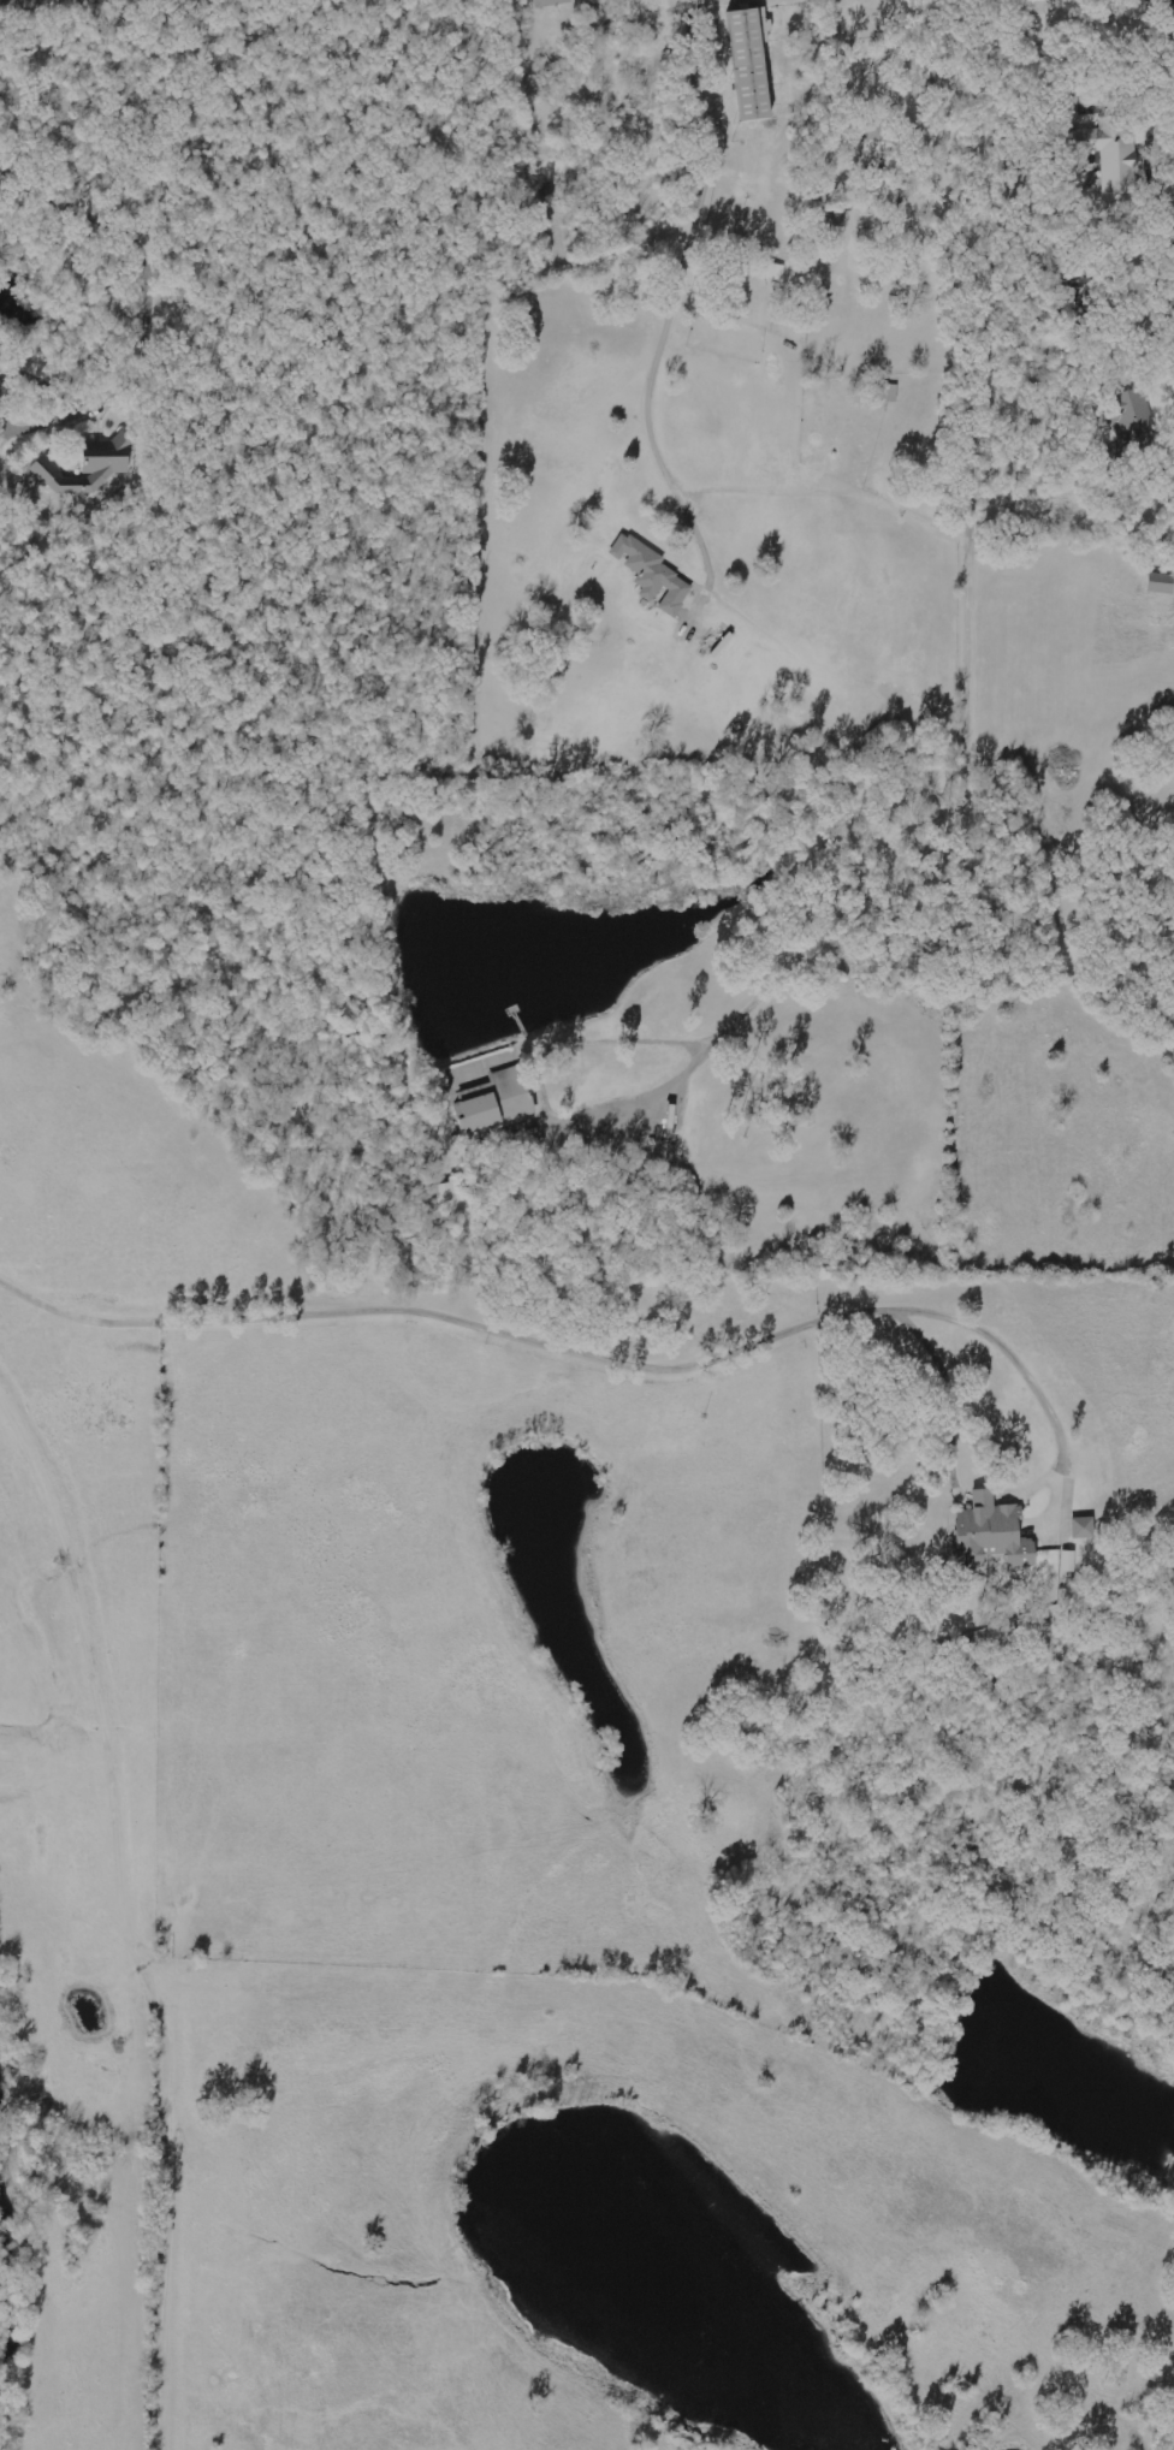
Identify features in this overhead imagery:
building: (551, 1)
building: (754, 61)
building: (1111, 152)
road: (1137, 281)
building: (1132, 414)
building: (90, 464)
building: (653, 573)
building: (1161, 582)
building: (498, 1101)
building: (1085, 1526)
building: (995, 1531)
building: (1069, 1560)
road: (138, 1900)

